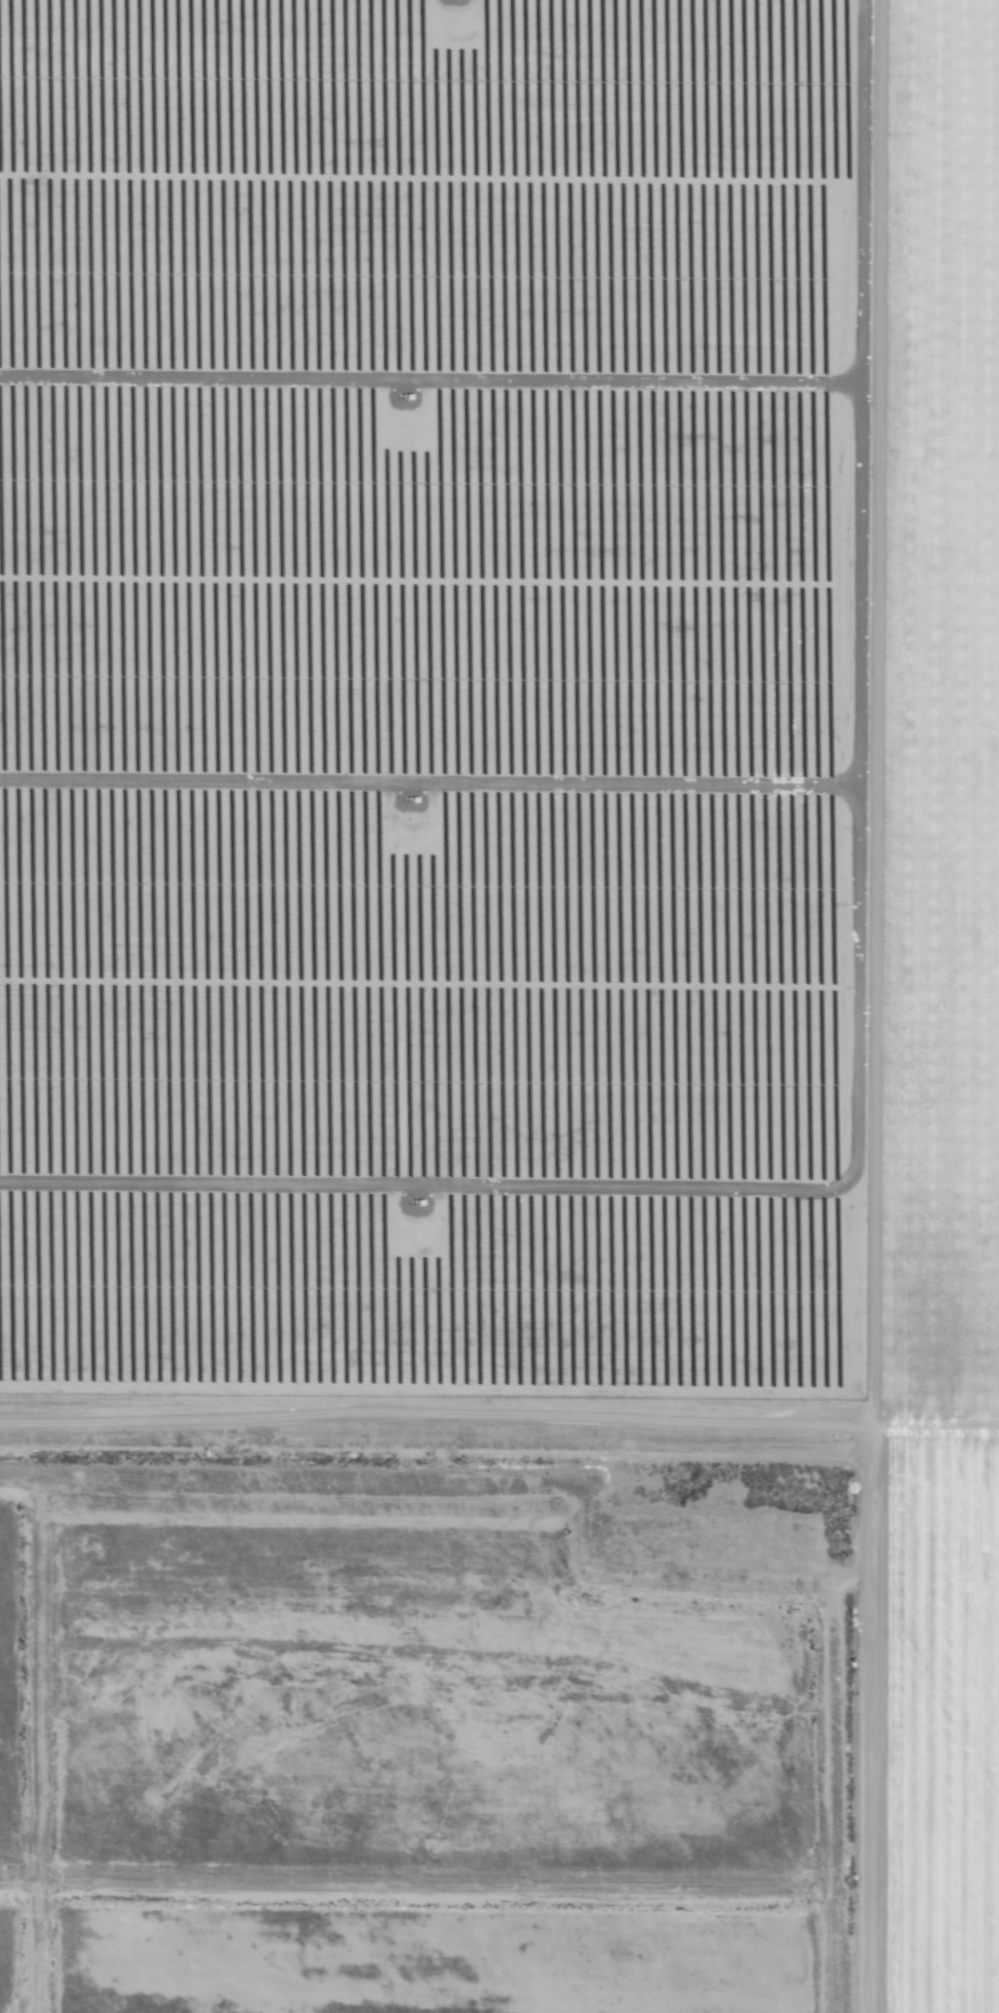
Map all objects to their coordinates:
solar farm: (431, 697)
road: (894, 712)
road: (433, 1420)
road: (932, 1425)
road: (866, 1719)

